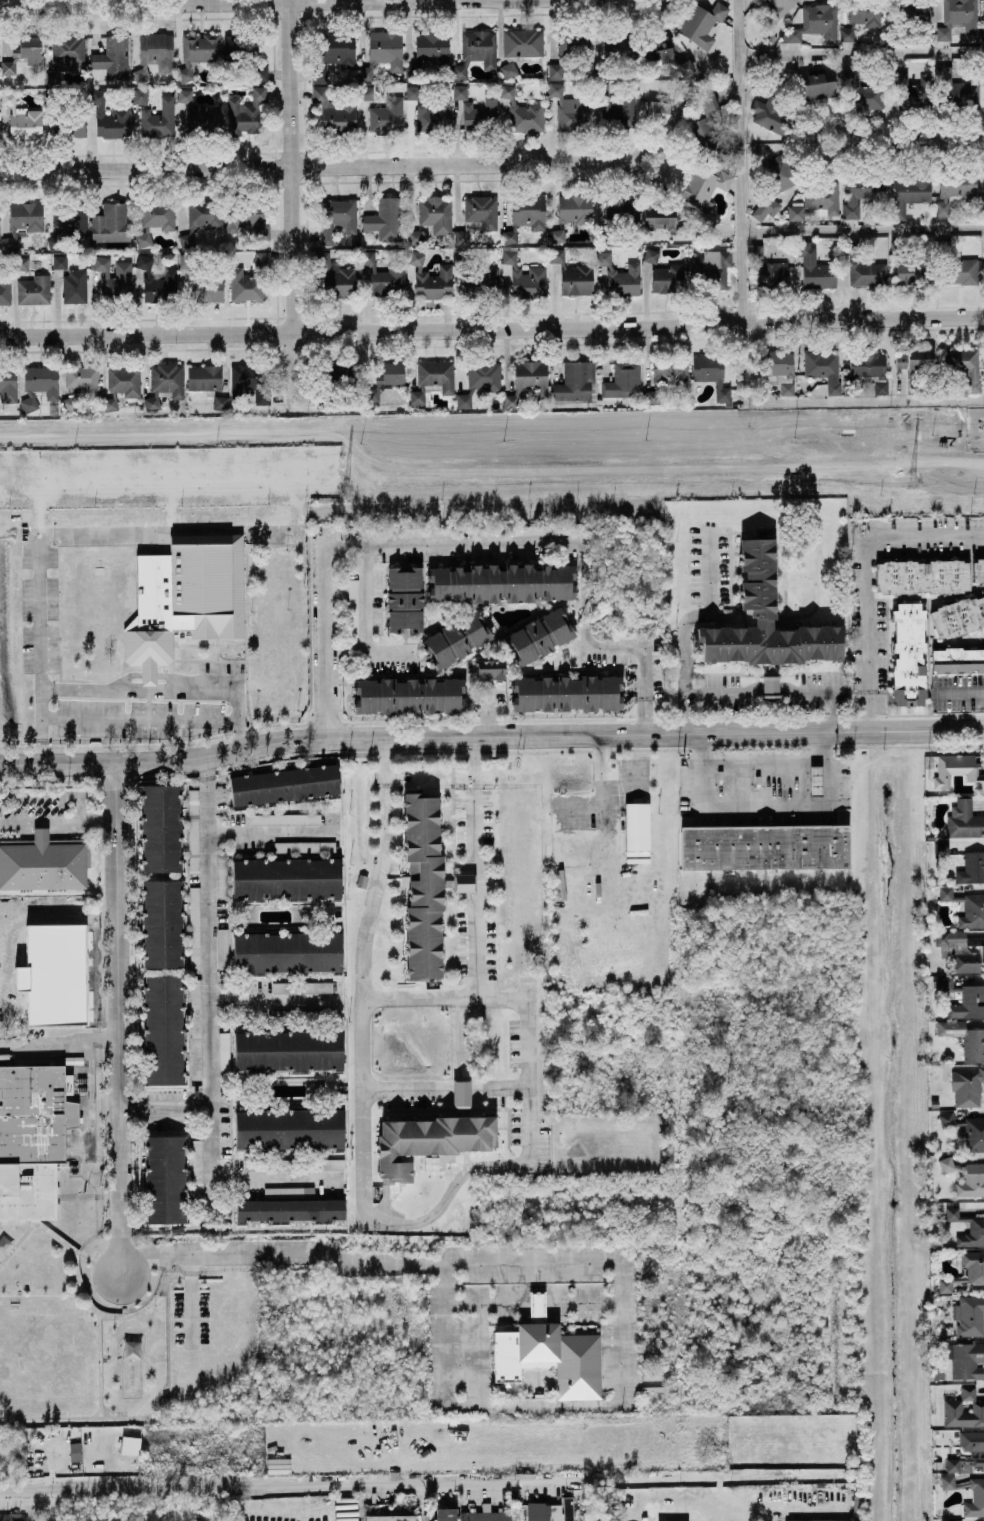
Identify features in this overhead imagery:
road: (187, 2)
building: (759, 2)
building: (780, 7)
road: (647, 13)
building: (861, 17)
building: (907, 17)
building: (958, 17)
building: (702, 23)
building: (814, 24)
road: (738, 26)
building: (982, 32)
building: (772, 38)
building: (520, 47)
building: (568, 48)
building: (337, 50)
road: (861, 50)
building: (198, 51)
building: (476, 51)
building: (154, 52)
building: (244, 52)
building: (383, 52)
building: (429, 52)
building: (615, 52)
building: (663, 53)
building: (22, 54)
building: (65, 55)
building: (111, 58)
building: (982, 75)
building: (816, 85)
building: (459, 91)
building: (954, 91)
building: (860, 92)
building: (910, 92)
building: (140, 96)
building: (443, 107)
building: (664, 107)
building: (616, 108)
building: (571, 110)
building: (773, 111)
building: (245, 112)
building: (336, 112)
building: (384, 112)
building: (480, 113)
building: (523, 113)
building: (110, 116)
building: (201, 116)
building: (23, 119)
building: (67, 119)
building: (159, 119)
building: (707, 127)
road: (849, 140)
road: (917, 140)
road: (667, 161)
road: (313, 166)
building: (775, 183)
building: (704, 187)
building: (955, 187)
building: (862, 192)
building: (910, 193)
road: (292, 199)
building: (816, 200)
building: (575, 208)
building: (435, 214)
building: (526, 214)
building: (246, 216)
building: (477, 216)
building: (618, 216)
building: (338, 217)
building: (156, 218)
building: (201, 218)
building: (384, 219)
building: (665, 219)
building: (23, 220)
building: (68, 221)
building: (111, 223)
road: (862, 228)
building: (557, 235)
building: (415, 237)
building: (849, 247)
building: (900, 247)
building: (651, 256)
building: (60, 261)
building: (21, 263)
building: (956, 265)
building: (713, 267)
building: (814, 267)
building: (768, 269)
building: (914, 271)
building: (867, 273)
building: (574, 274)
building: (523, 275)
building: (621, 276)
building: (335, 277)
building: (385, 277)
building: (668, 277)
building: (115, 278)
building: (431, 278)
building: (250, 279)
building: (476, 279)
building: (200, 281)
building: (157, 282)
building: (74, 286)
building: (5, 287)
building: (34, 289)
road: (492, 331)
road: (742, 348)
building: (914, 361)
building: (775, 363)
building: (819, 363)
building: (963, 365)
building: (865, 371)
building: (711, 372)
building: (204, 377)
building: (666, 377)
building: (385, 378)
building: (528, 379)
building: (432, 380)
building: (480, 380)
building: (332, 381)
building: (575, 381)
building: (623, 381)
building: (250, 382)
building: (165, 383)
building: (8, 384)
building: (80, 384)
building: (39, 385)
building: (121, 385)
building: (787, 388)
building: (834, 388)
building: (220, 402)
building: (53, 410)
building: (22, 415)
road: (169, 474)
power tower: (910, 482)
power tower: (345, 490)
road: (174, 500)
road: (69, 529)
building: (542, 529)
building: (425, 532)
road: (522, 542)
road: (346, 546)
road: (708, 569)
building: (978, 570)
building: (923, 576)
road: (874, 577)
building: (501, 583)
building: (185, 597)
building: (404, 598)
building: (353, 606)
building: (958, 616)
building: (765, 620)
road: (328, 631)
building: (631, 634)
building: (539, 637)
building: (457, 638)
road: (683, 647)
building: (909, 655)
building: (958, 660)
building: (489, 669)
road: (151, 676)
building: (770, 686)
road: (169, 691)
building: (568, 693)
road: (958, 693)
building: (410, 695)
road: (777, 695)
road: (494, 707)
road: (140, 718)
road: (491, 735)
road: (764, 755)
road: (203, 768)
building: (958, 770)
building: (816, 779)
gas station: (816, 780)
building: (284, 785)
road: (603, 796)
road: (471, 797)
road: (80, 807)
road: (767, 810)
road: (97, 818)
building: (285, 818)
building: (964, 820)
building: (635, 826)
building: (161, 828)
building: (193, 831)
road: (271, 832)
building: (304, 846)
building: (764, 847)
building: (941, 849)
road: (472, 860)
building: (43, 863)
building: (950, 864)
building: (971, 868)
building: (222, 874)
building: (286, 878)
building: (426, 887)
building: (966, 907)
road: (455, 913)
building: (162, 923)
building: (195, 927)
road: (362, 946)
building: (222, 948)
building: (961, 949)
road: (474, 951)
building: (287, 952)
building: (57, 975)
building: (302, 987)
road: (116, 996)
building: (964, 998)
road: (208, 1002)
road: (275, 1004)
building: (163, 1030)
building: (964, 1038)
road: (101, 1039)
building: (288, 1050)
building: (223, 1052)
road: (88, 1055)
building: (967, 1086)
road: (446, 1090)
building: (461, 1094)
building: (935, 1103)
road: (179, 1114)
road: (132, 1115)
building: (289, 1130)
building: (967, 1131)
building: (30, 1138)
building: (429, 1141)
building: (332, 1163)
building: (197, 1164)
road: (278, 1176)
building: (966, 1177)
building: (165, 1179)
building: (290, 1210)
road: (436, 1212)
building: (976, 1227)
road: (120, 1251)
road: (595, 1259)
building: (975, 1272)
road: (191, 1301)
building: (969, 1316)
building: (551, 1352)
building: (965, 1359)
building: (952, 1406)
building: (0, 1446)
building: (75, 1451)
building: (977, 1453)
road: (402, 1481)
building: (978, 1496)
building: (568, 1508)
building: (445, 1514)
building: (12, 1517)
building: (390, 1517)
building: (816, 1520)
building: (955, 1520)

